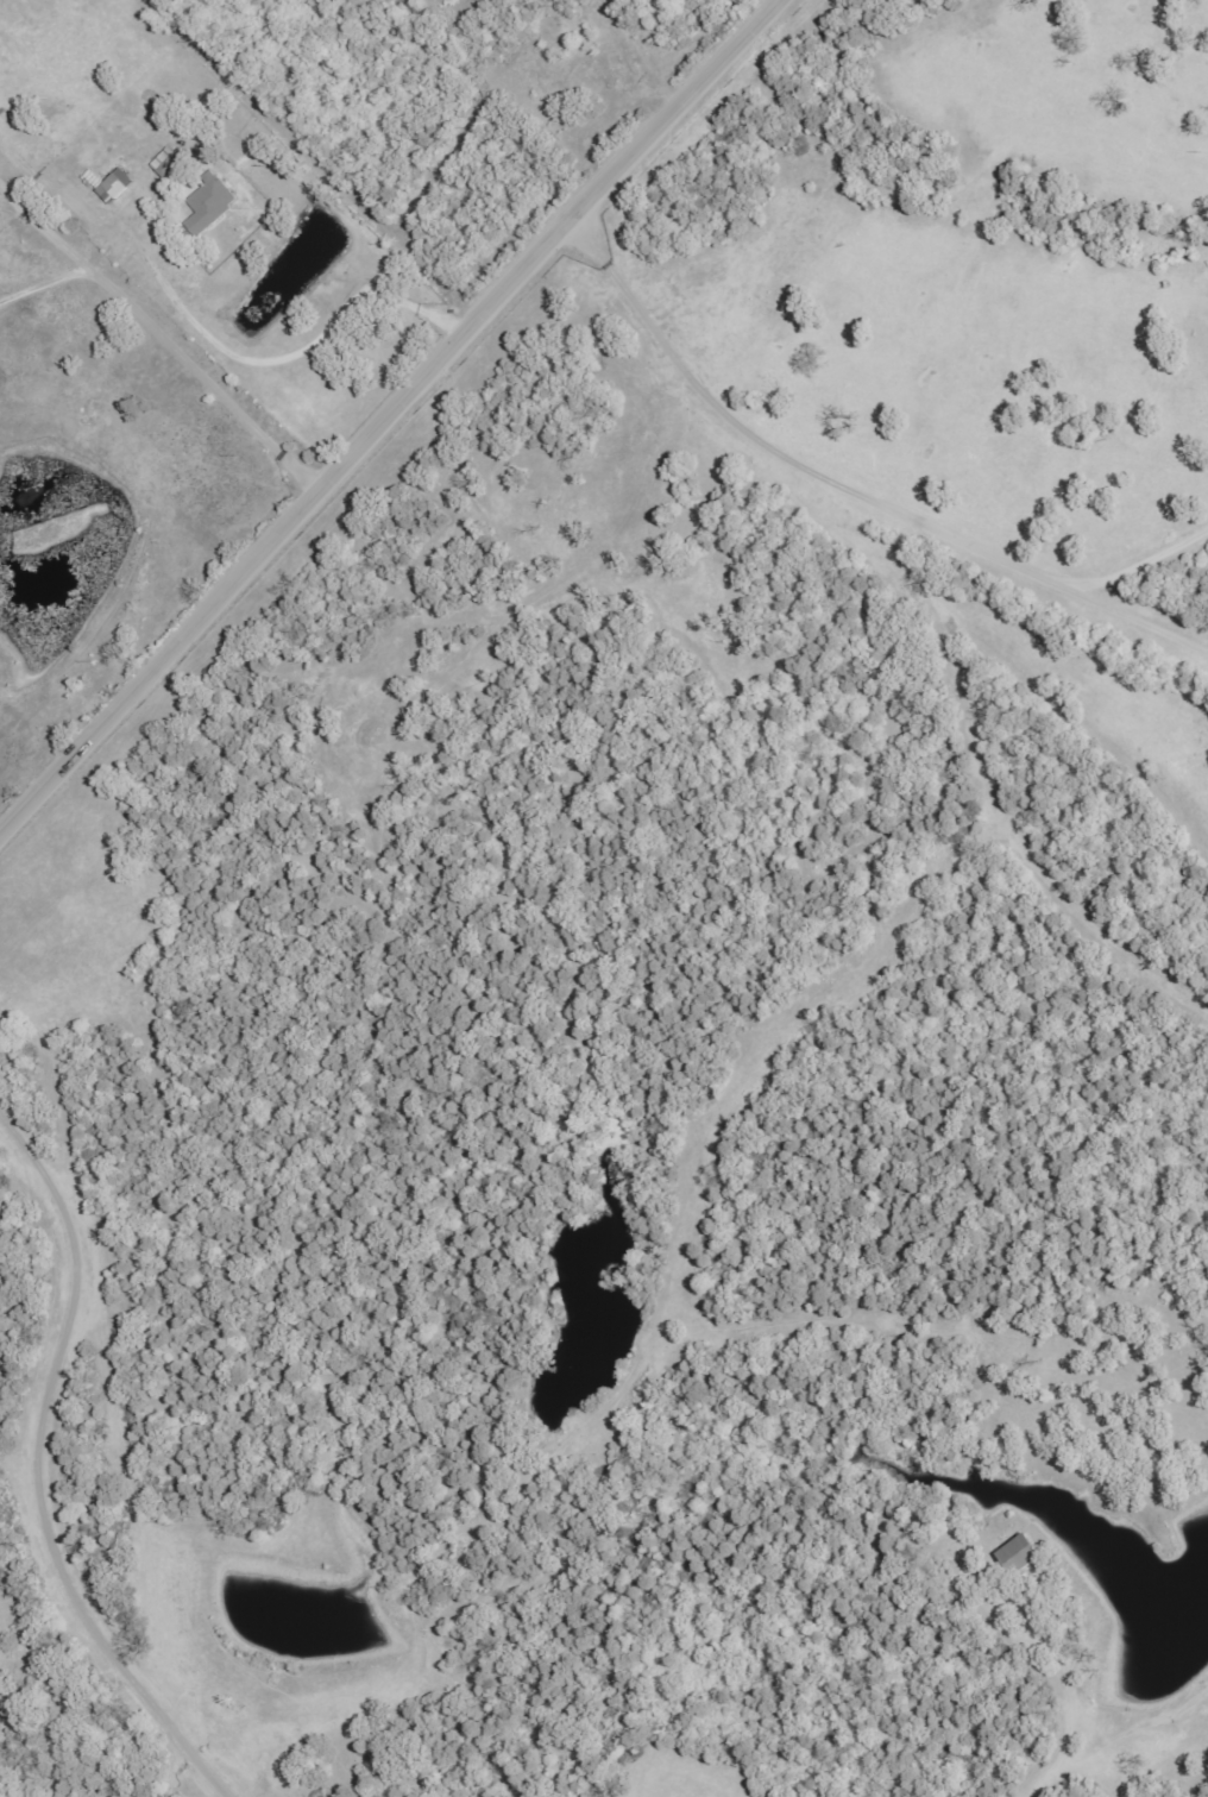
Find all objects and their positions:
road: (308, 169)
building: (115, 186)
building: (212, 201)
road: (383, 414)
building: (1021, 1553)

